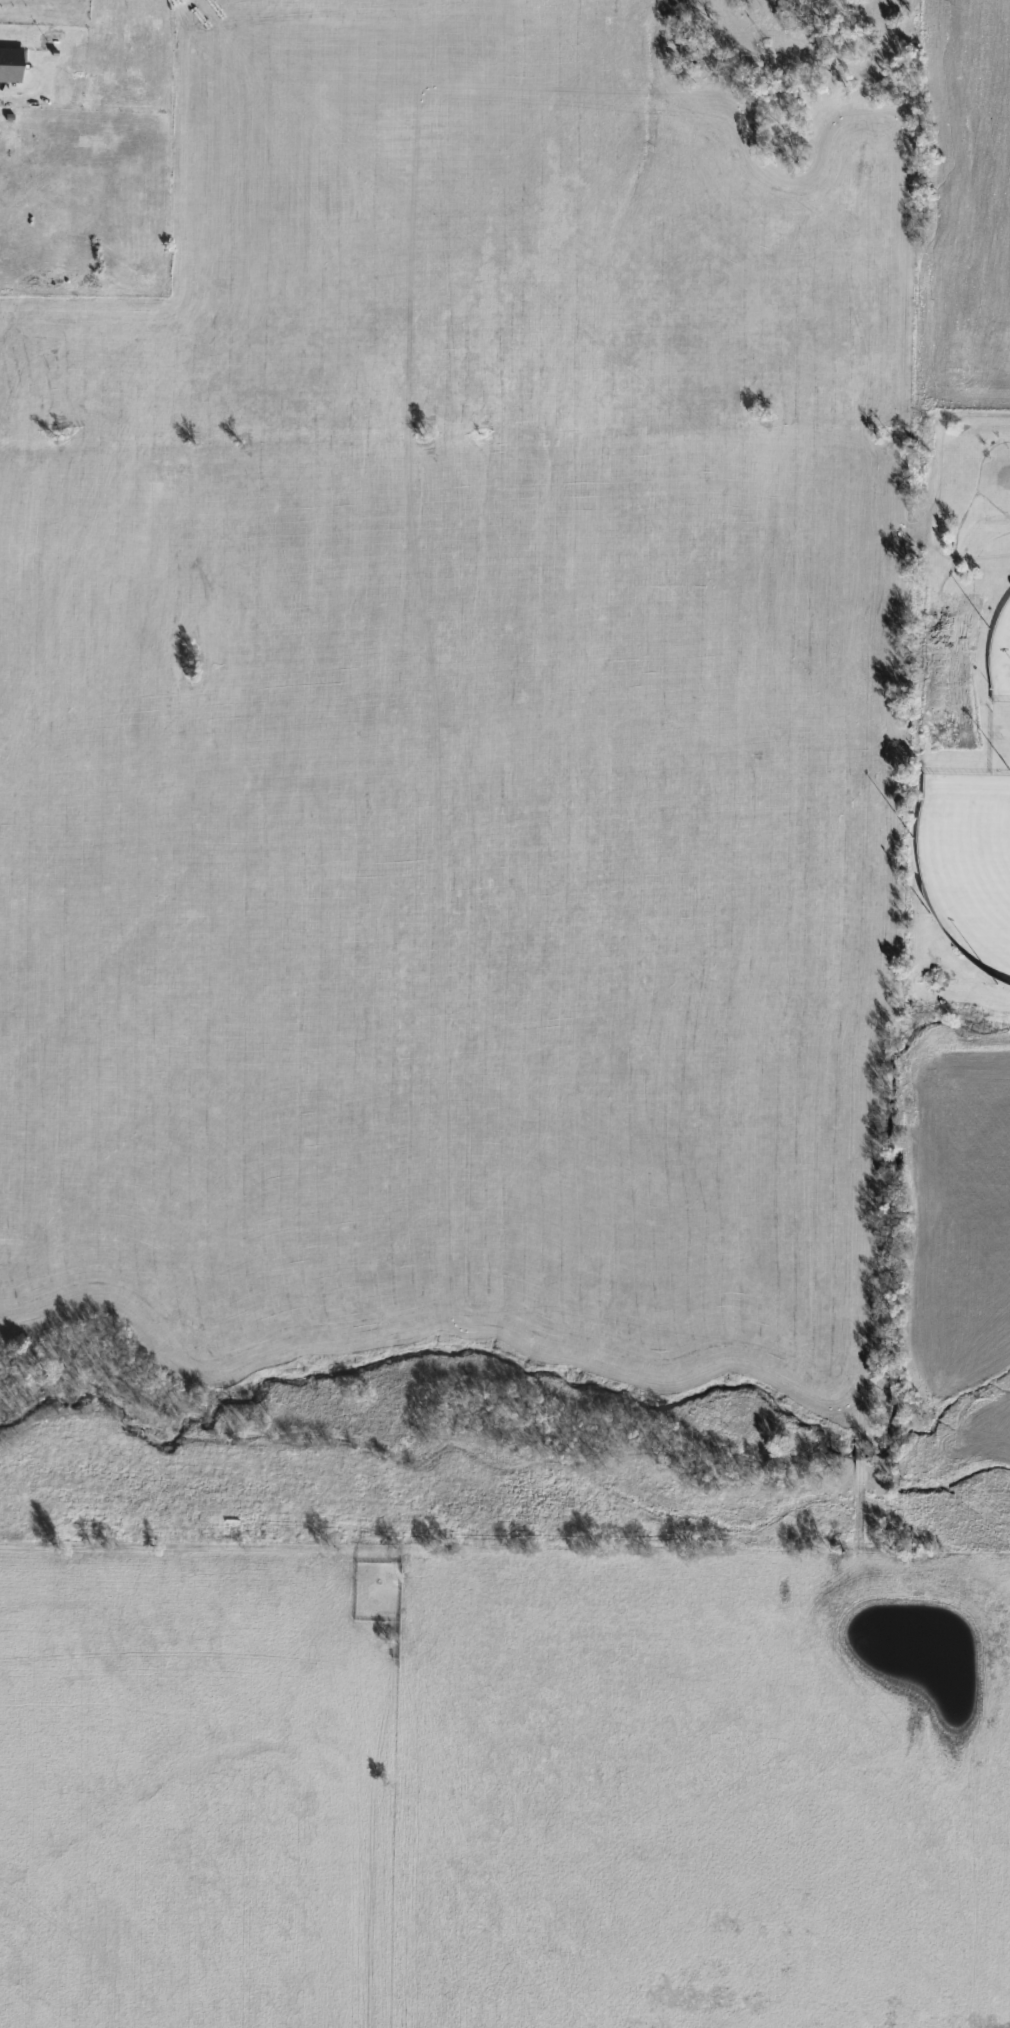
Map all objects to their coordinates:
building: (9, 66)
park: (1000, 656)
park: (962, 721)
park: (969, 863)

